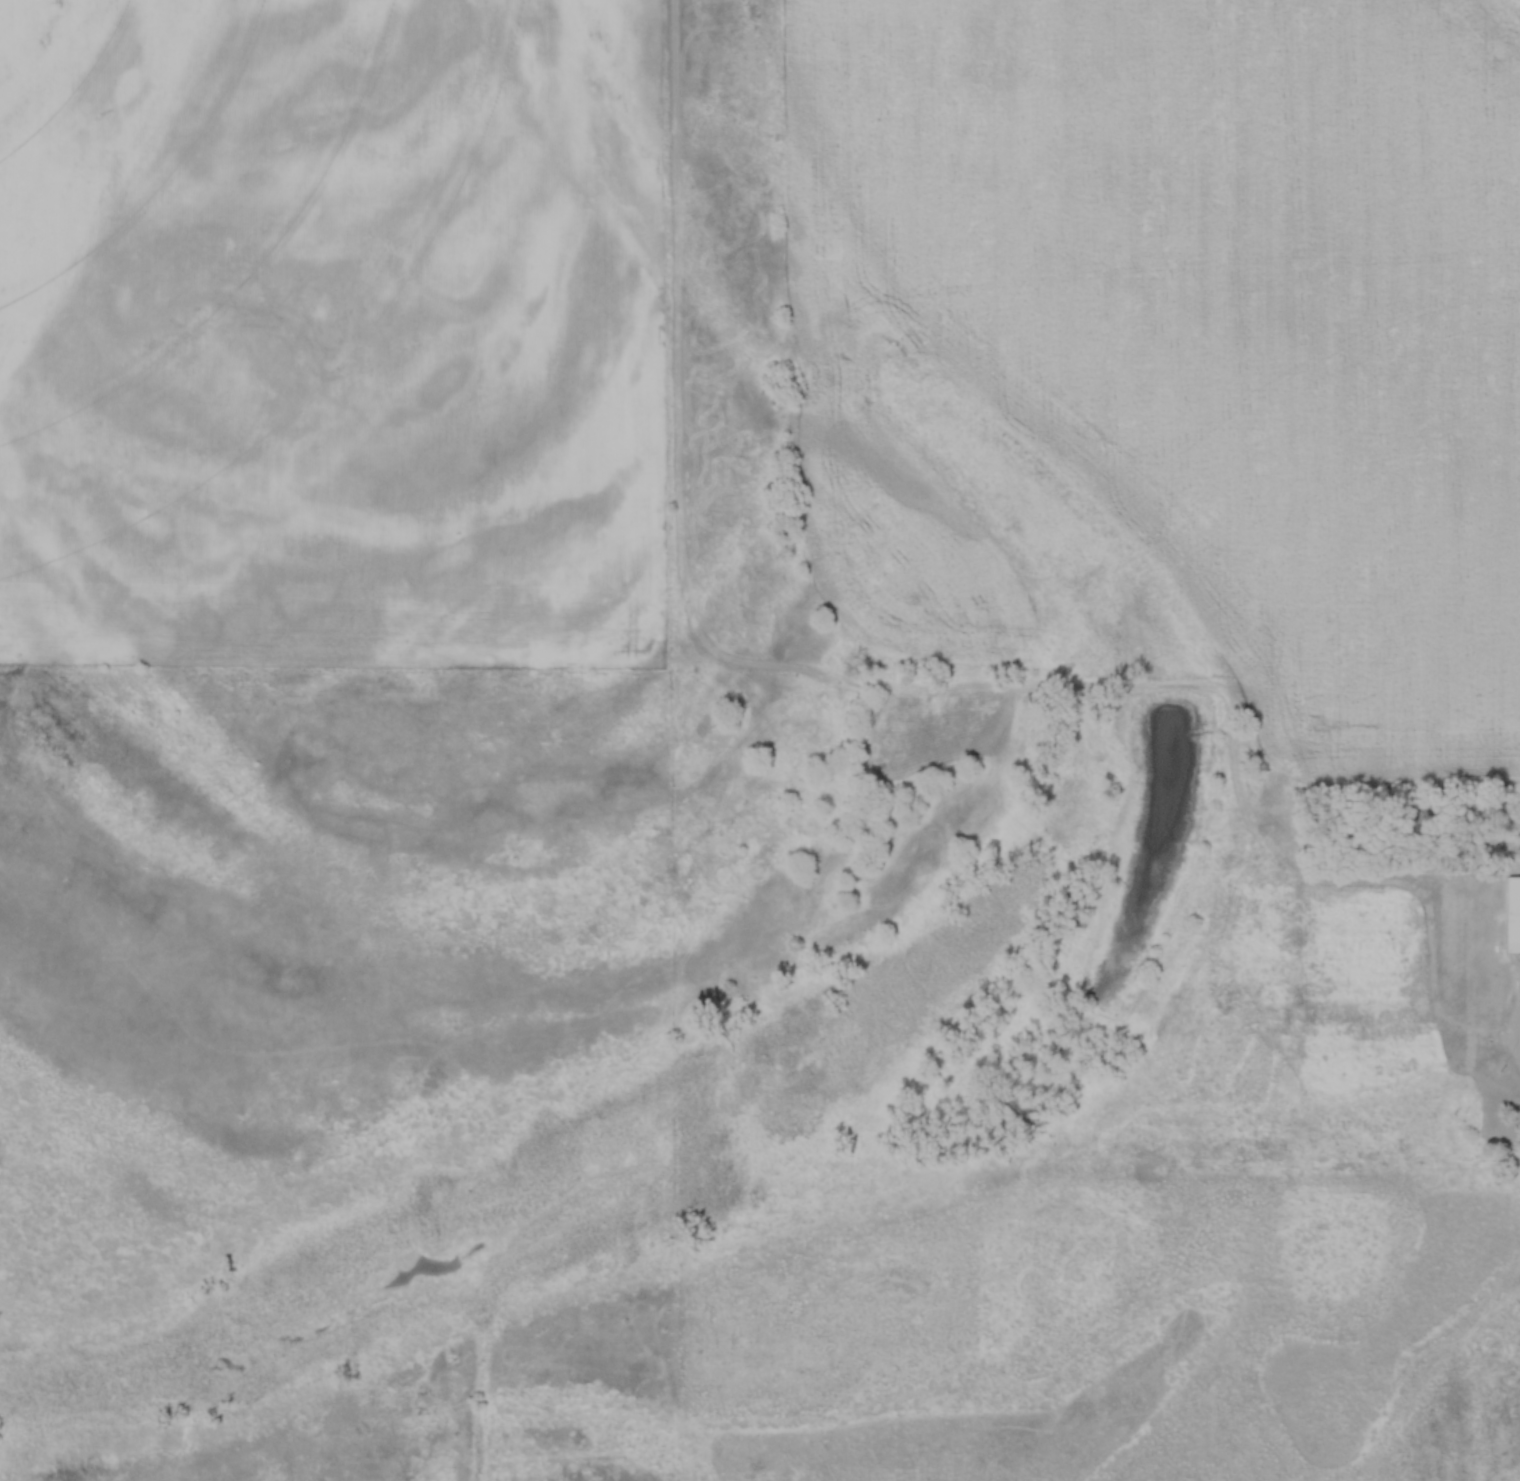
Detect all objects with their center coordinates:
building: (1514, 930)

